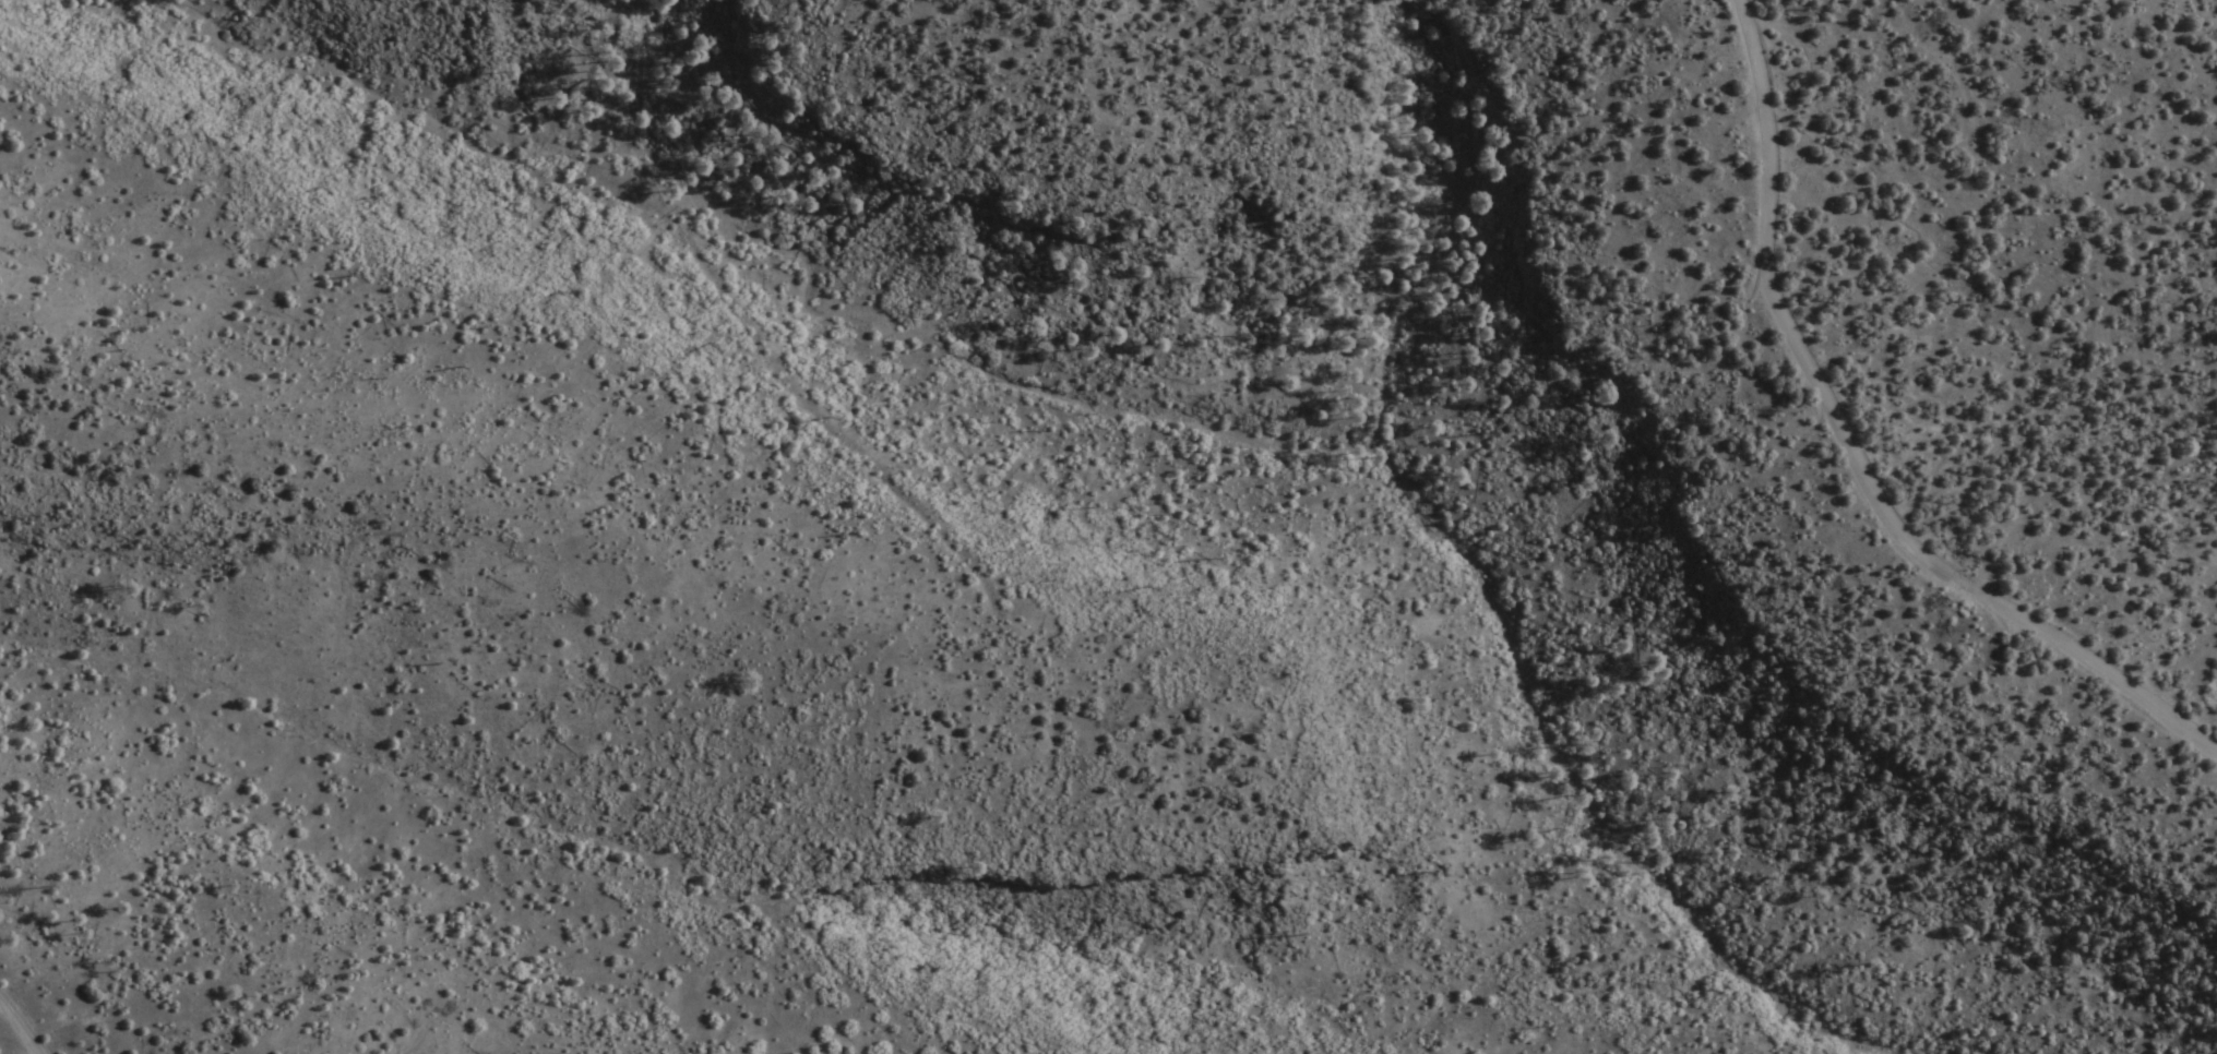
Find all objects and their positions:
road: (1856, 450)
road: (24, 1026)

